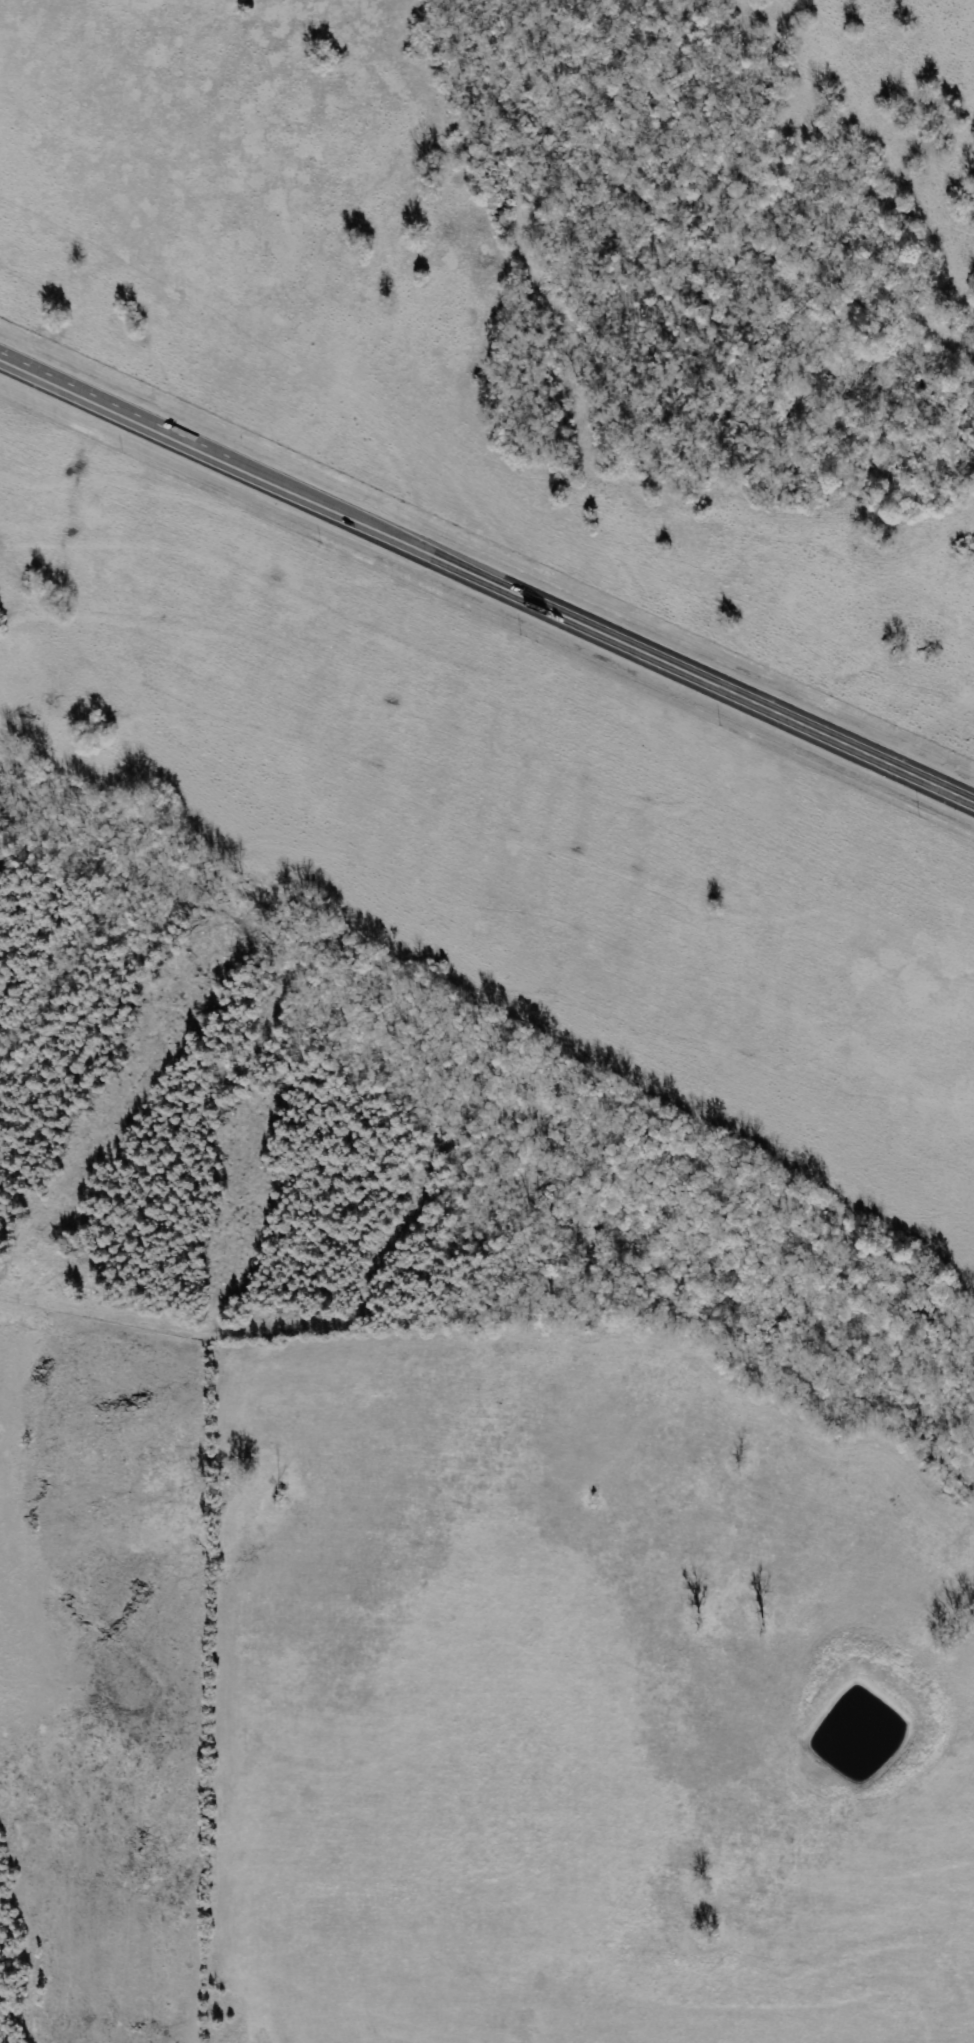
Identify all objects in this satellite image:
road: (487, 575)

